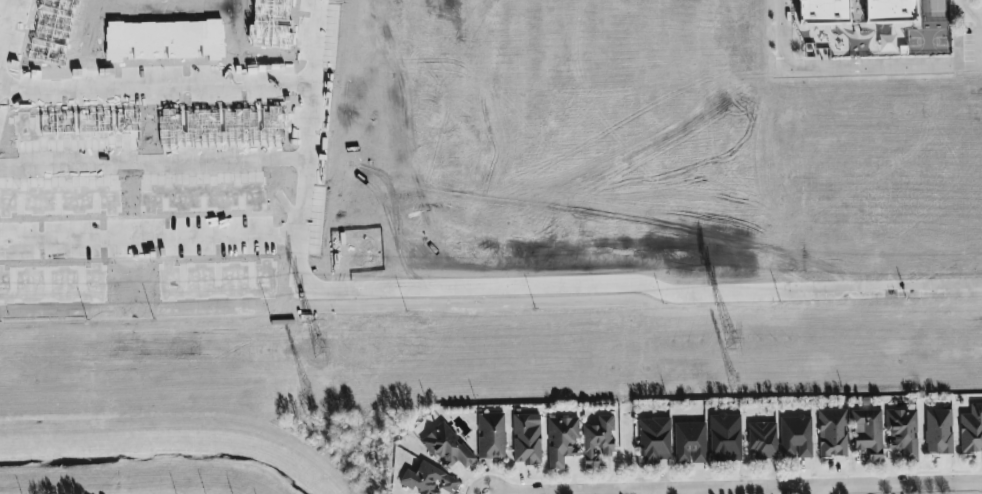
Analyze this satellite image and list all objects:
building: (823, 11)
building: (890, 11)
road: (965, 14)
road: (7, 29)
road: (848, 66)
road: (227, 162)
power tower: (728, 344)
power tower: (317, 351)
power tower: (732, 380)
power tower: (304, 389)
building: (971, 429)
building: (938, 431)
building: (832, 432)
building: (903, 432)
building: (868, 433)
building: (491, 435)
building: (795, 436)
building: (725, 437)
building: (526, 438)
building: (562, 440)
building: (654, 440)
building: (762, 440)
building: (597, 441)
building: (690, 442)
building: (447, 447)
building: (428, 480)
road: (832, 490)
road: (820, 492)

